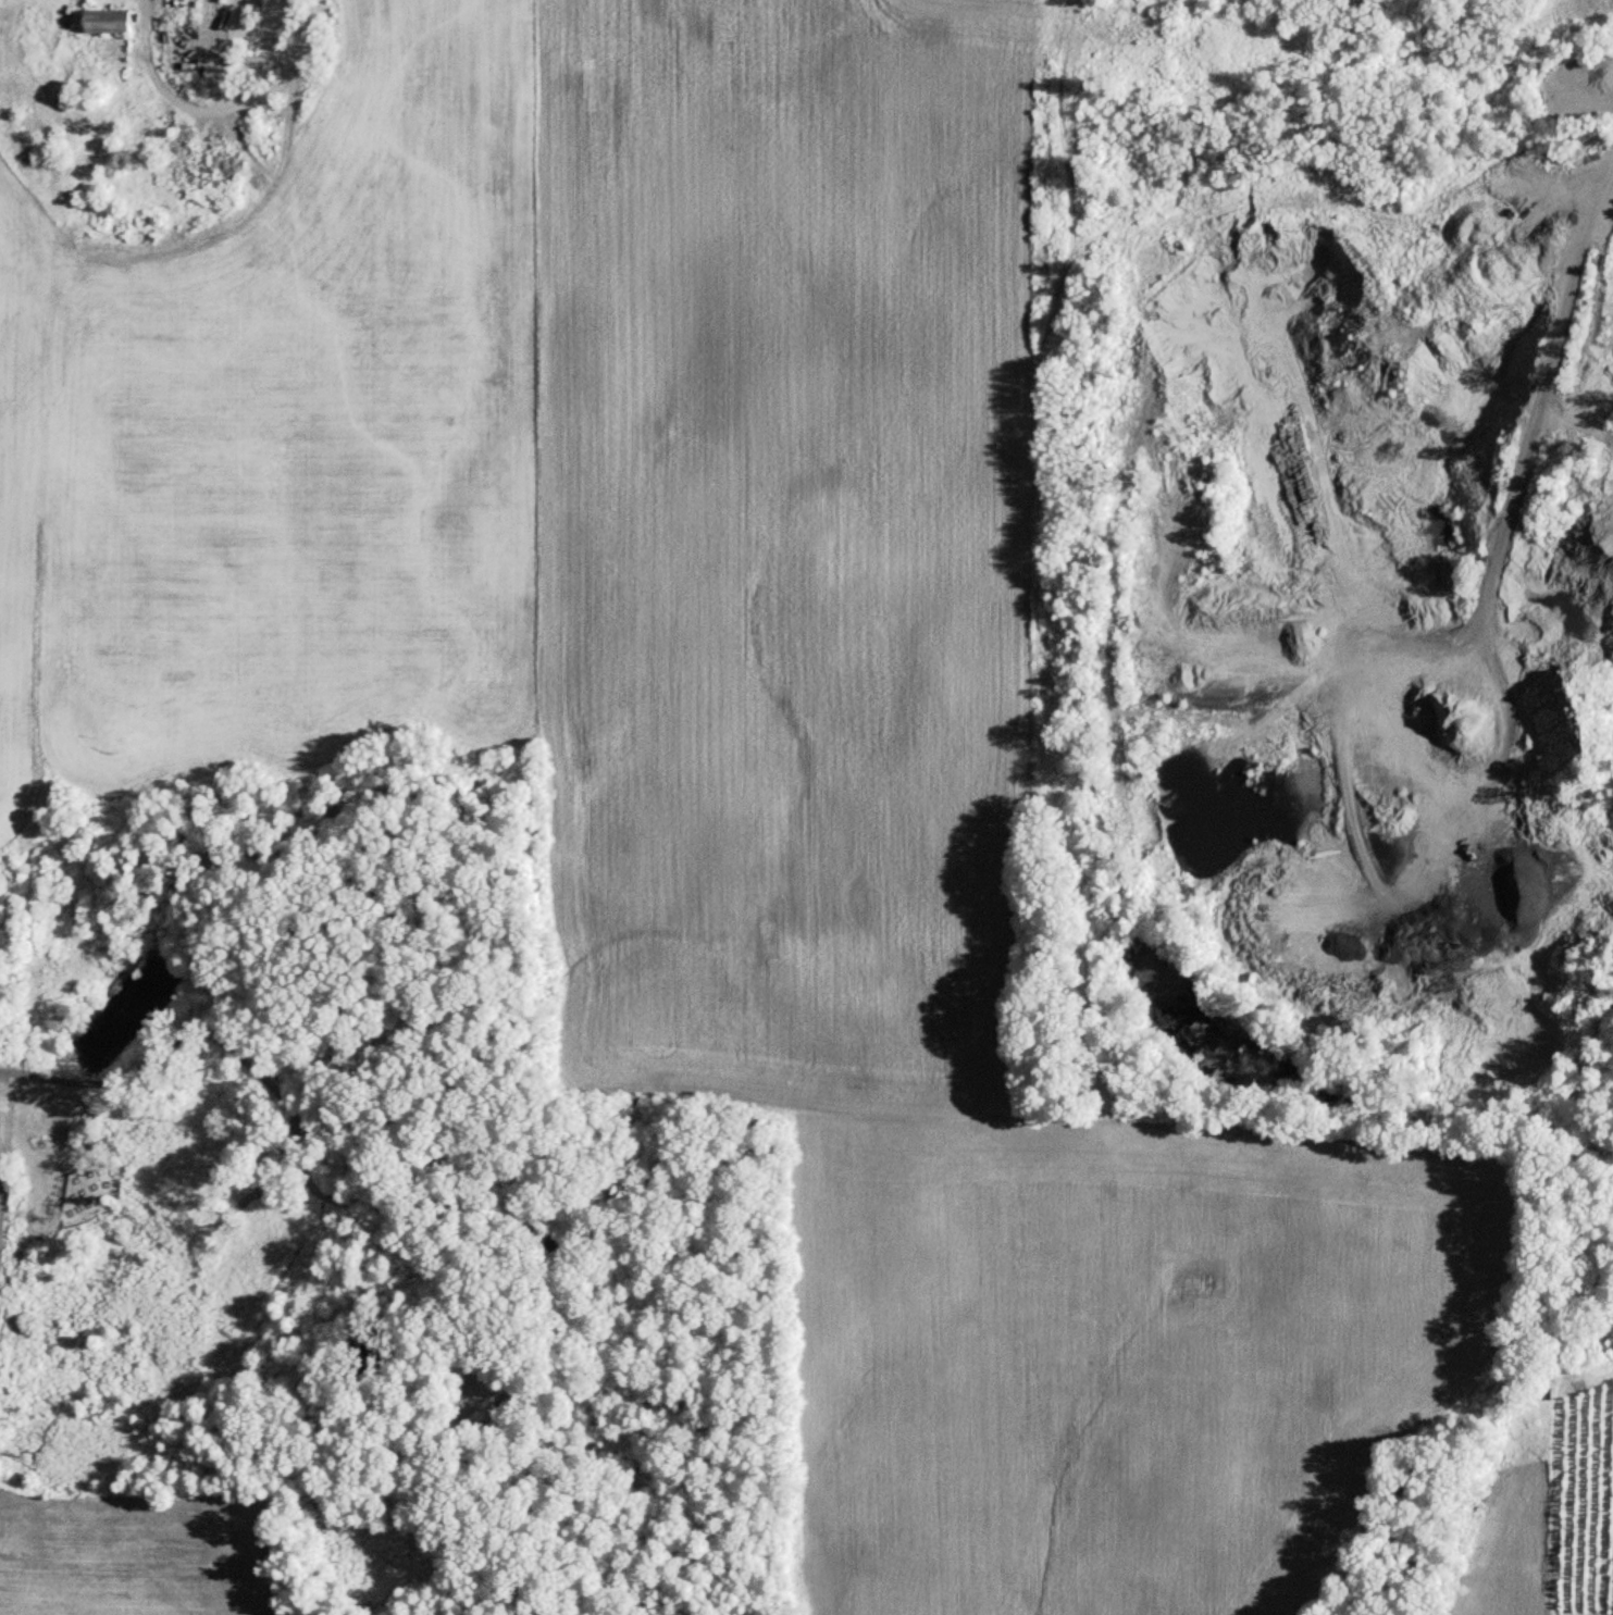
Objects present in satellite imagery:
building: (189, 2)
building: (106, 24)
road: (219, 103)
road: (1032, 356)
quarry: (1355, 593)
road: (1465, 609)
road: (293, 1116)
building: (1546, 1389)
building: (486, 1417)
road: (1581, 1611)

